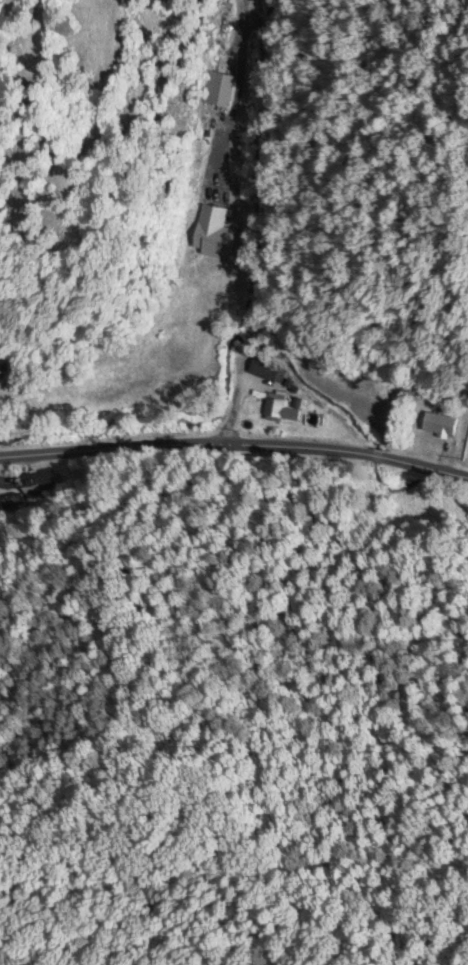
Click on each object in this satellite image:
building: (217, 216)
road: (263, 222)
building: (266, 369)
building: (278, 409)
building: (438, 422)
road: (107, 444)
road: (343, 451)

